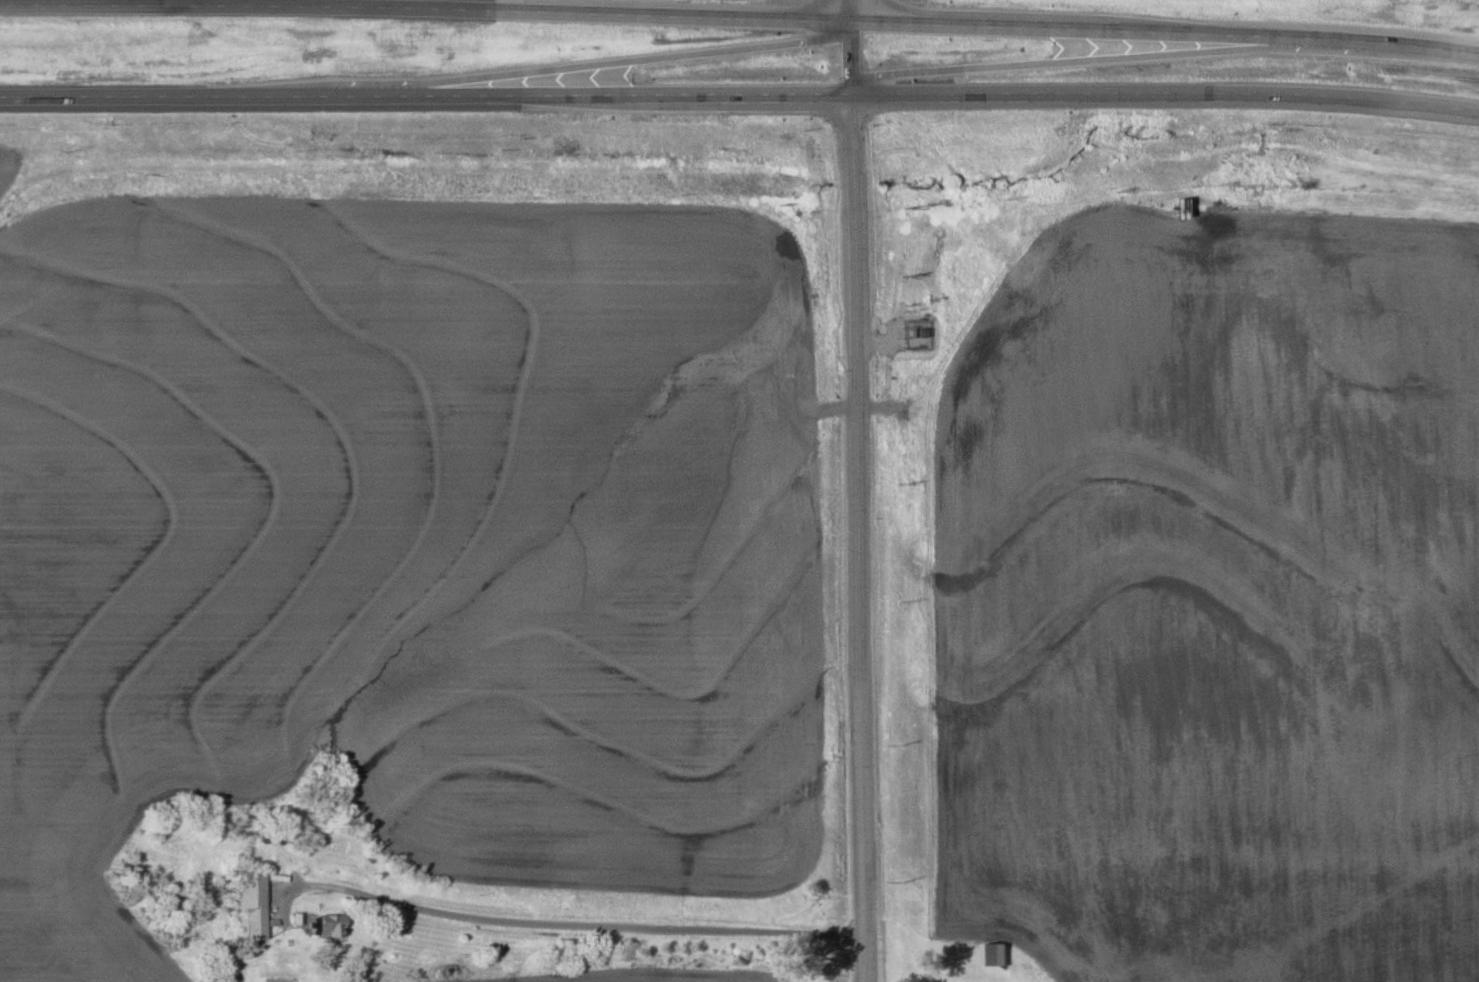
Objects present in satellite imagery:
road: (456, 5)
road: (424, 10)
road: (848, 10)
road: (1164, 28)
road: (847, 59)
road: (1093, 59)
road: (589, 65)
road: (1163, 94)
road: (423, 100)
road: (858, 539)
building: (251, 906)
building: (329, 926)
road: (538, 926)
building: (990, 954)

